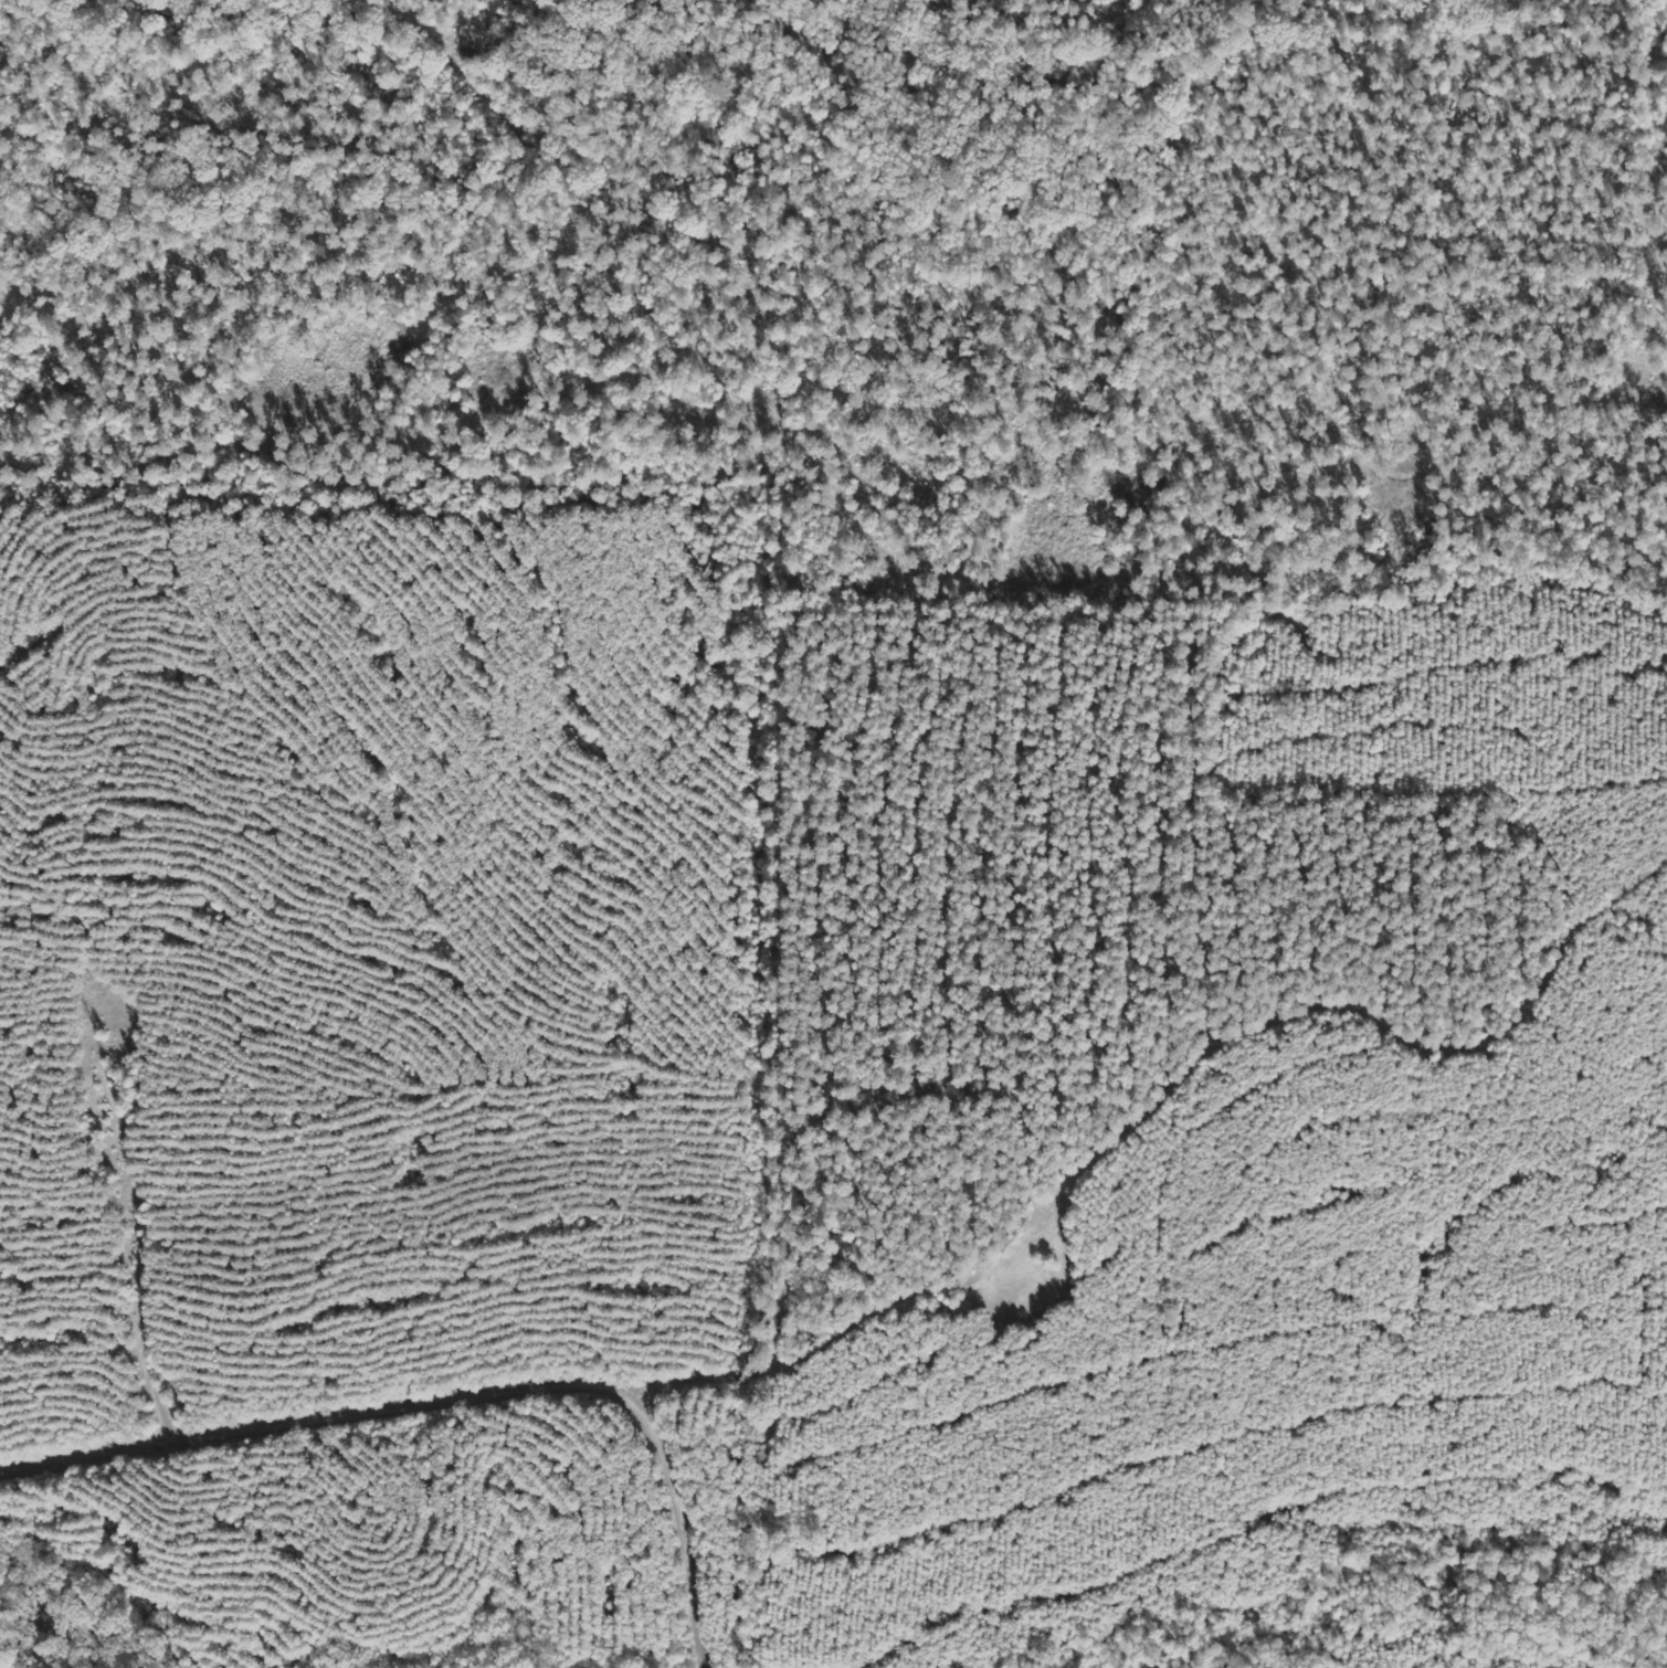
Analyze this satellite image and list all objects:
road: (456, 1400)

